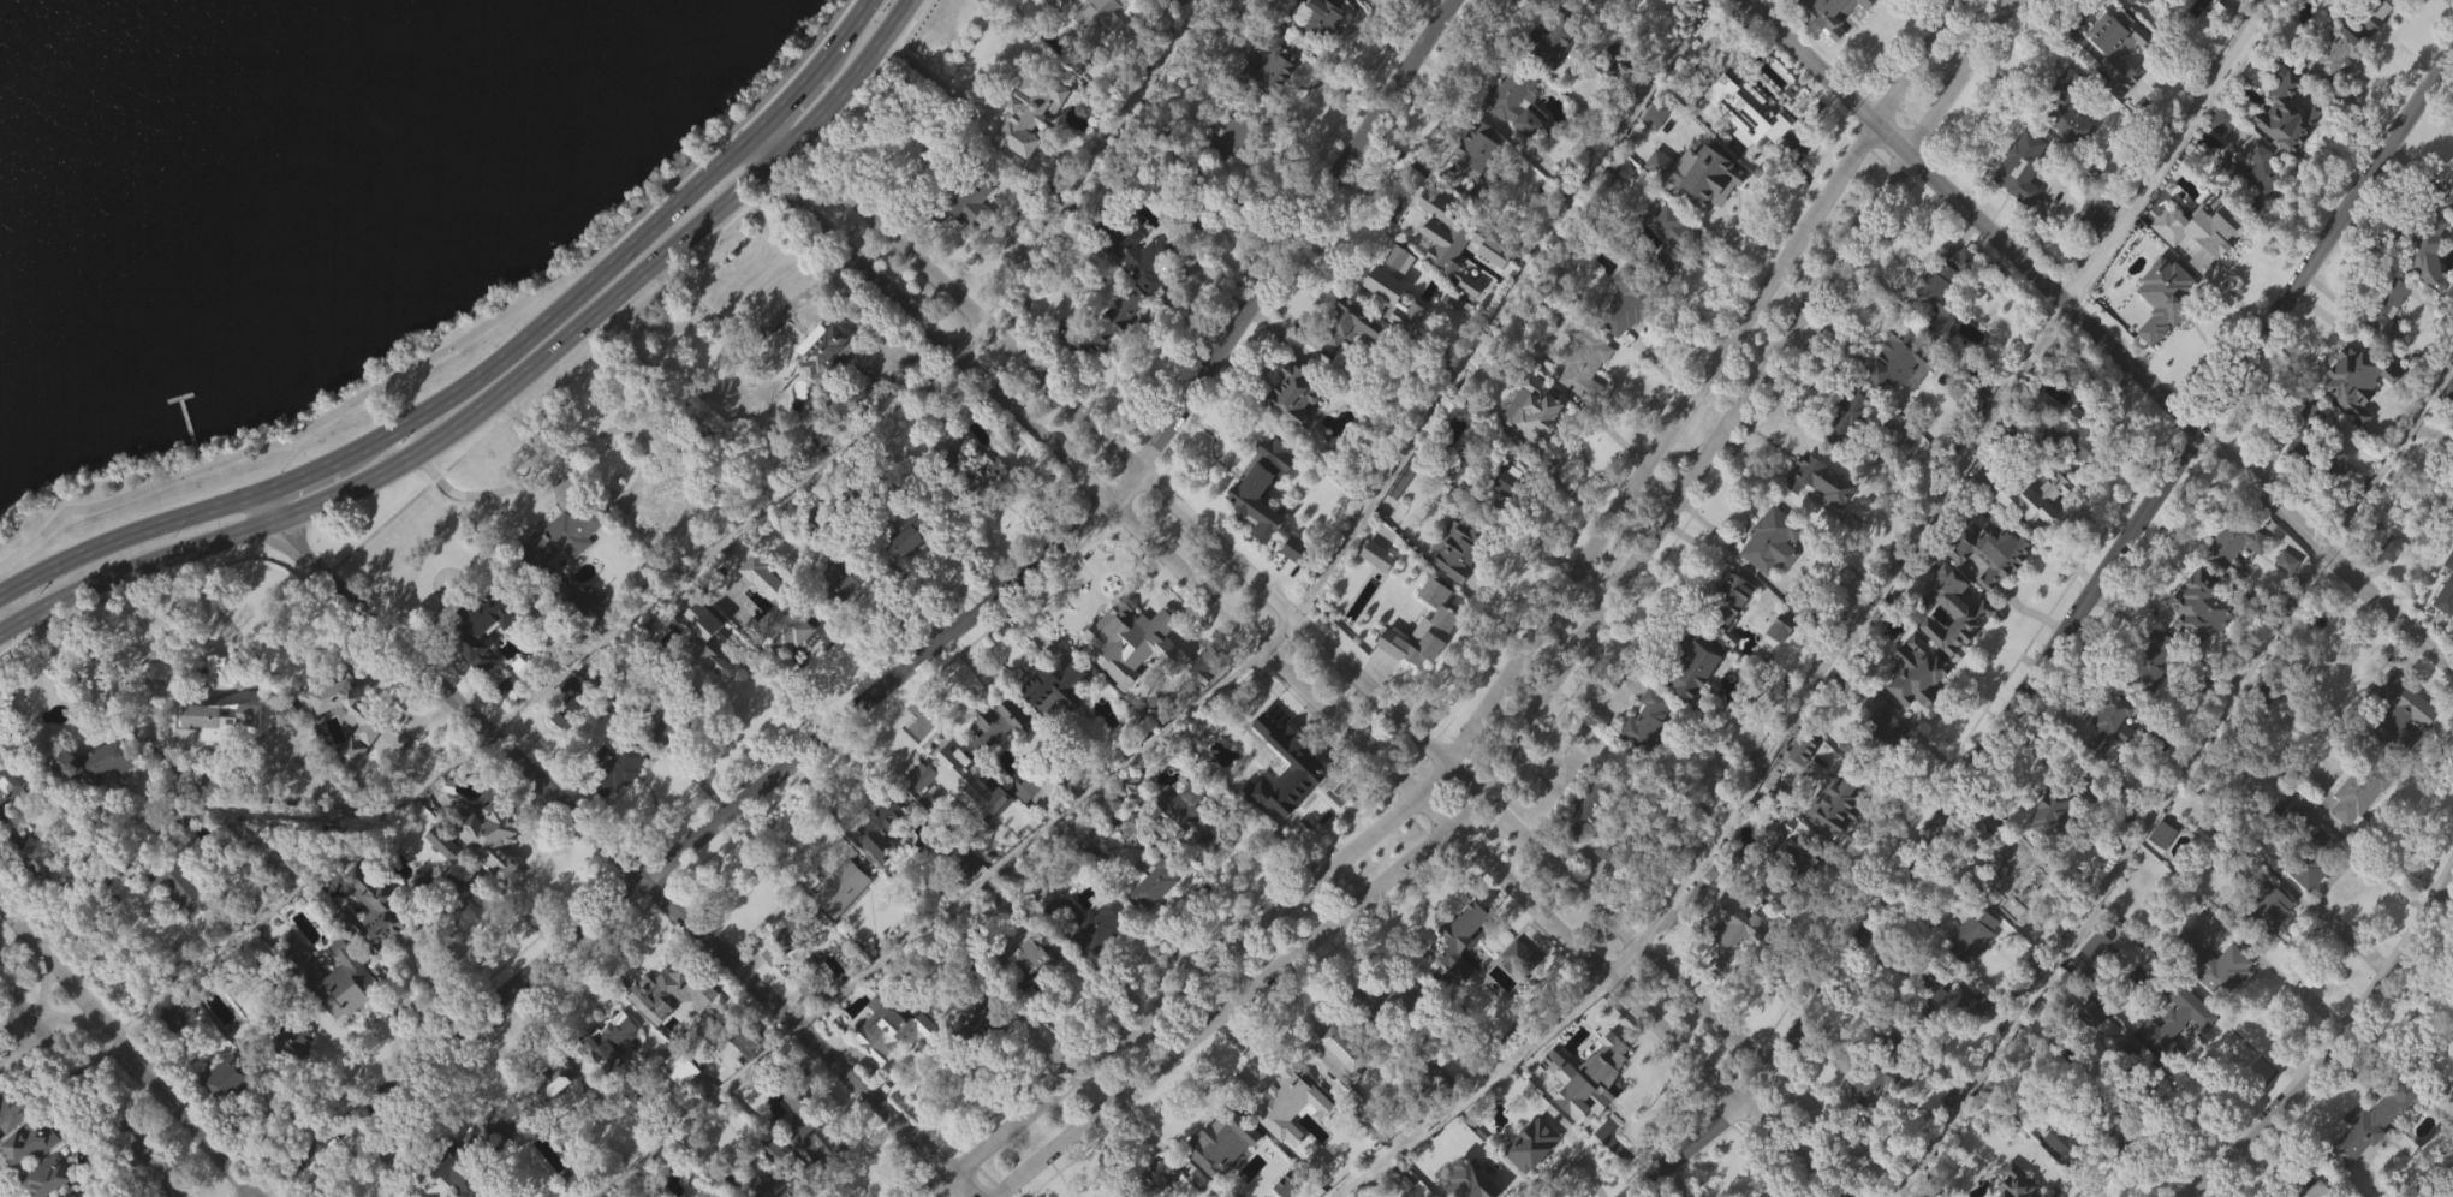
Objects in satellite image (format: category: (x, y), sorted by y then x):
building: (2127, 0)
building: (1597, 1)
building: (2143, 1)
building: (1169, 4)
building: (1356, 4)
building: (2364, 13)
building: (1316, 17)
building: (1101, 20)
building: (1840, 34)
building: (2101, 34)
building: (2213, 42)
building: (1556, 43)
building: (1321, 44)
building: (1099, 50)
building: (1143, 52)
building: (2330, 53)
building: (1618, 64)
road: (933, 77)
building: (1550, 77)
building: (2115, 83)
building: (2335, 89)
building: (1508, 91)
building: (2066, 106)
building: (1269, 107)
building: (1026, 112)
building: (2286, 112)
building: (2219, 119)
building: (1530, 120)
building: (1236, 132)
building: (1510, 139)
building: (2062, 143)
building: (2282, 145)
building: (1744, 147)
building: (1029, 149)
road: (2162, 149)
building: (1653, 150)
building: (1478, 156)
building: (2219, 156)
road: (1088, 161)
building: (2022, 166)
building: (1231, 172)
building: (2246, 177)
building: (1721, 180)
building: (1472, 187)
building: (969, 198)
building: (2019, 202)
building: (1193, 203)
building: (2098, 208)
building: (1696, 210)
building: (2246, 213)
park: (316, 214)
building: (1424, 214)
building: (2449, 234)
building: (969, 237)
building: (1673, 239)
building: (2213, 246)
building: (2094, 250)
building: (2424, 251)
building: (1148, 255)
building: (1455, 272)
building: (1667, 273)
building: (1391, 279)
building: (1946, 282)
building: (2423, 286)
building: (1135, 287)
building: (1395, 297)
road: (1502, 300)
building: (1626, 302)
building: (1382, 321)
building: (1467, 322)
building: (1940, 323)
building: (1107, 324)
building: (1348, 324)
road: (751, 328)
road: (2098, 332)
road: (966, 335)
building: (2162, 335)
building: (1625, 338)
road: (458, 340)
building: (1403, 350)
building: (823, 351)
building: (1354, 358)
building: (1583, 358)
building: (1895, 361)
building: (1102, 362)
road: (482, 373)
building: (2079, 374)
building: (2358, 380)
building: (824, 388)
road: (504, 391)
building: (1288, 393)
building: (1898, 394)
building: (1582, 397)
pier: (179, 398)
building: (1532, 411)
building: (1851, 415)
building: (2350, 417)
building: (856, 418)
pier: (187, 429)
building: (1292, 429)
building: (2073, 430)
building: (1900, 435)
building: (2298, 437)
building: (1532, 448)
building: (1844, 452)
building: (2073, 471)
building: (986, 474)
building: (2297, 476)
building: (1821, 480)
building: (1500, 486)
road: (490, 489)
building: (672, 490)
road: (618, 492)
building: (2035, 493)
building: (2333, 498)
building: (981, 508)
building: (1817, 516)
building: (1502, 518)
building: (1260, 522)
building: (2035, 531)
building: (906, 535)
building: (1774, 538)
road: (720, 540)
building: (1473, 543)
building: (2229, 544)
building: (1990, 548)
building: (528, 559)
building: (561, 573)
building: (907, 574)
building: (1768, 574)
building: (2228, 579)
building: (1453, 583)
building: (2391, 583)
building: (1293, 584)
building: (1988, 585)
building: (2445, 588)
building: (1374, 591)
building: (1805, 597)
building: (2282, 597)
building: (1733, 598)
building: (2201, 605)
building: (1952, 612)
building: (838, 615)
road: (1854, 618)
building: (1397, 621)
building: (2445, 623)
building: (784, 624)
road: (1285, 624)
building: (1780, 625)
building: (487, 626)
building: (579, 635)
building: (1114, 641)
building: (1725, 642)
building: (779, 643)
building: (2198, 643)
building: (710, 644)
building: (1952, 644)
building: (2156, 645)
road: (2059, 648)
road: (916, 653)
road: (1345, 653)
road: (1572, 659)
building: (480, 662)
building: (1424, 662)
building: (1778, 662)
road: (1512, 663)
building: (1695, 663)
road: (1298, 666)
building: (1924, 672)
building: (2149, 673)
building: (707, 678)
road: (787, 687)
building: (1054, 687)
building: (2264, 690)
building: (1192, 692)
building: (1691, 698)
road: (392, 702)
building: (1913, 708)
building: (561, 711)
building: (2401, 715)
building: (370, 719)
building: (2110, 719)
building: (1653, 720)
building: (678, 722)
building: (1052, 722)
building: (995, 723)
building: (504, 725)
building: (1880, 742)
road: (19, 749)
building: (2399, 750)
building: (1820, 751)
building: (561, 752)
building: (1643, 756)
building: (367, 760)
building: (995, 761)
building: (2108, 761)
building: (101, 762)
building: (617, 766)
building: (665, 767)
building: (939, 770)
building: (1279, 772)
building: (1800, 784)
building: (1026, 787)
building: (2357, 791)
building: (95, 798)
building: (1276, 799)
building: (615, 803)
building: (1190, 803)
building: (1838, 804)
building: (181, 808)
building: (1590, 809)
building: (2049, 810)
building: (12, 814)
building: (958, 816)
building: (1136, 828)
building: (2162, 834)
building: (495, 835)
building: (1111, 835)
building: (1181, 839)
building: (1834, 839)
road: (1268, 842)
building: (441, 844)
building: (880, 844)
building: (1582, 844)
building: (2310, 846)
building: (2047, 847)
building: (187, 853)
road: (617, 853)
building: (2294, 853)
building: (1775, 859)
building: (879, 860)
building: (40, 862)
building: (1132, 862)
building: (1797, 867)
building: (2013, 867)
building: (2159, 869)
building: (492, 874)
building: (16, 876)
building: (1161, 879)
building: (1207, 879)
building: (180, 886)
building: (1606, 887)
building: (447, 892)
building: (1793, 894)
building: (36, 897)
building: (2008, 905)
building: (2260, 905)
building: (375, 907)
building: (2305, 909)
building: (460, 918)
building: (1090, 922)
building: (1150, 922)
building: (177, 923)
building: (840, 923)
building: (1461, 925)
building: (1739, 930)
building: (1977, 934)
building: (782, 939)
building: (2266, 942)
building: (371, 945)
building: (1025, 954)
building: (1086, 958)
building: (1524, 958)
building: (786, 966)
building: (1732, 966)
building: (2213, 966)
building: (1970, 970)
building: (1460, 972)
building: (339, 976)
road: (168, 981)
building: (2094, 981)
road: (42, 982)
building: (809, 988)
building: (770, 989)
building: (675, 991)
road: (2302, 991)
building: (1518, 993)
building: (1931, 995)
building: (2209, 997)
building: (1029, 999)
building: (1389, 1000)
building: (2076, 1001)
building: (332, 1013)
building: (2162, 1013)
building: (2090, 1014)
building: (181, 1016)
road: (71, 1018)
building: (988, 1018)
building: (806, 1024)
road: (14, 1026)
building: (668, 1028)
building: (1929, 1030)
building: (899, 1032)
building: (1383, 1035)
building: (745, 1038)
building: (614, 1040)
building: (296, 1041)
building: (1975, 1041)
road: (127, 1048)
building: (1344, 1048)
road: (2329, 1048)
building: (2089, 1049)
building: (179, 1050)
building: (2172, 1053)
building: (982, 1055)
building: (889, 1065)
building: (1889, 1067)
building: (675, 1068)
road: (1494, 1070)
building: (609, 1073)
building: (740, 1077)
building: (1435, 1077)
building: (291, 1078)
building: (1604, 1079)
building: (2127, 1079)
building: (234, 1080)
building: (554, 1083)
road: (96, 1088)
building: (1335, 1089)
building: (1272, 1100)
building: (678, 1103)
building: (13, 1109)
building: (227, 1114)
building: (550, 1116)
building: (1866, 1118)
building: (2370, 1121)
building: (499, 1131)
building: (815, 1131)
building: (1226, 1135)
building: (1275, 1136)
building: (2077, 1139)
building: (1532, 1144)
building: (25, 1145)
building: (2369, 1157)
road: (1573, 1159)
building: (811, 1166)
building: (492, 1167)
building: (463, 1172)
building: (47, 1175)
building: (1159, 1177)
building: (1530, 1177)
building: (23, 1179)
building: (2061, 1179)
building: (580, 1180)
building: (776, 1183)
road: (168, 1184)
building: (2017, 1184)
building: (1782, 1189)
road: (4, 1190)
road: (1900, 1190)
building: (2311, 1190)
building: (451, 1191)
building: (1311, 1192)
building: (53, 1193)
building: (705, 1193)
building: (72, 1195)
road: (248, 1195)
building: (1162, 1195)
building: (1460, 1195)
building: (1487, 1195)

